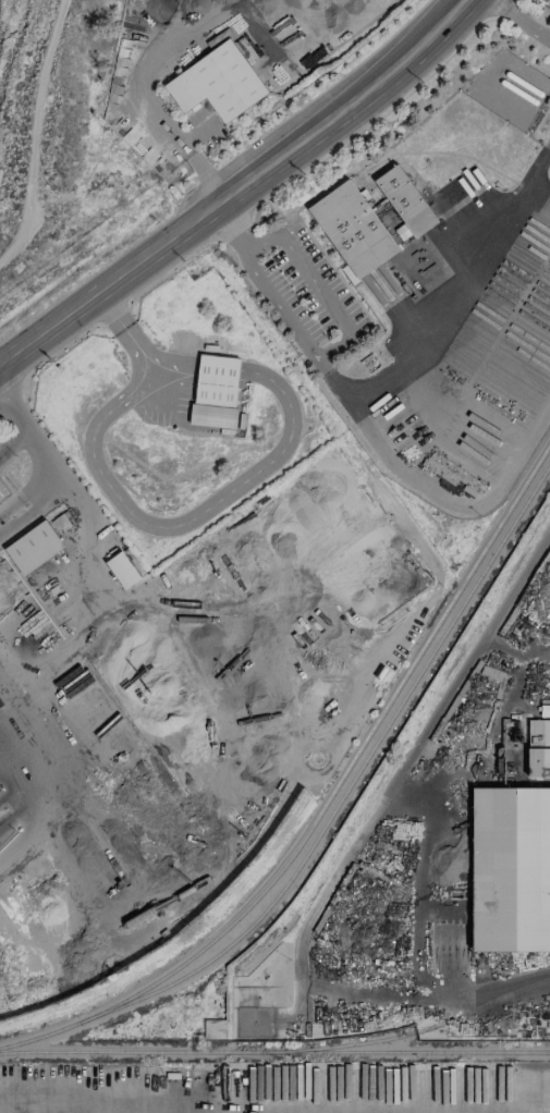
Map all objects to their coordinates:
road: (526, 16)
quarry: (9, 39)
building: (217, 83)
road: (154, 101)
road: (235, 186)
road: (541, 188)
building: (406, 200)
road: (235, 220)
building: (353, 230)
road: (319, 279)
road: (465, 291)
road: (281, 303)
road: (123, 328)
road: (219, 370)
road: (338, 380)
building: (216, 391)
road: (452, 392)
road: (90, 440)
road: (277, 454)
road: (53, 475)
road: (454, 502)
building: (34, 547)
building: (122, 570)
road: (514, 648)
railway: (347, 768)
road: (68, 776)
railway: (351, 783)
road: (344, 864)
building: (511, 869)
road: (427, 879)
railway: (419, 1031)
railway: (38, 1037)
railway: (274, 1053)
road: (533, 1092)
road: (83, 1109)

